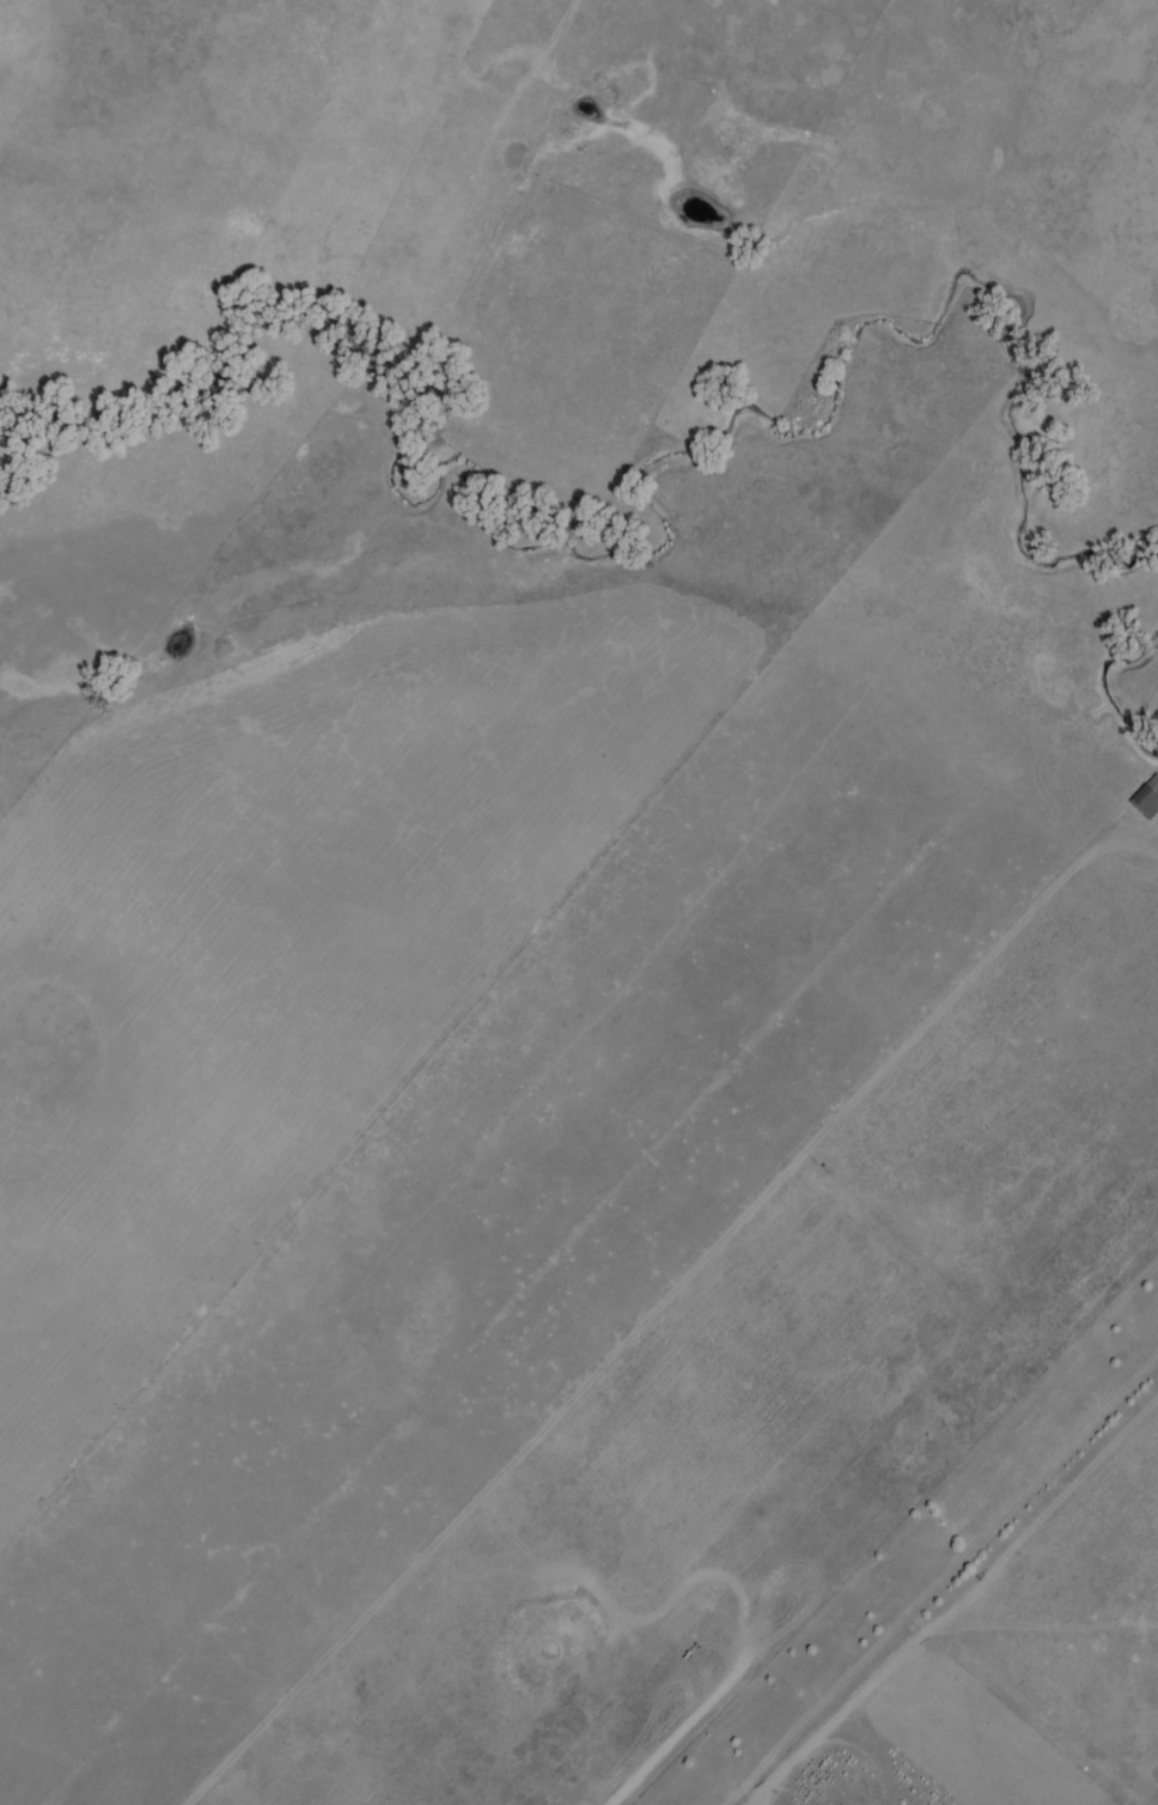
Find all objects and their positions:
building: (1147, 800)

